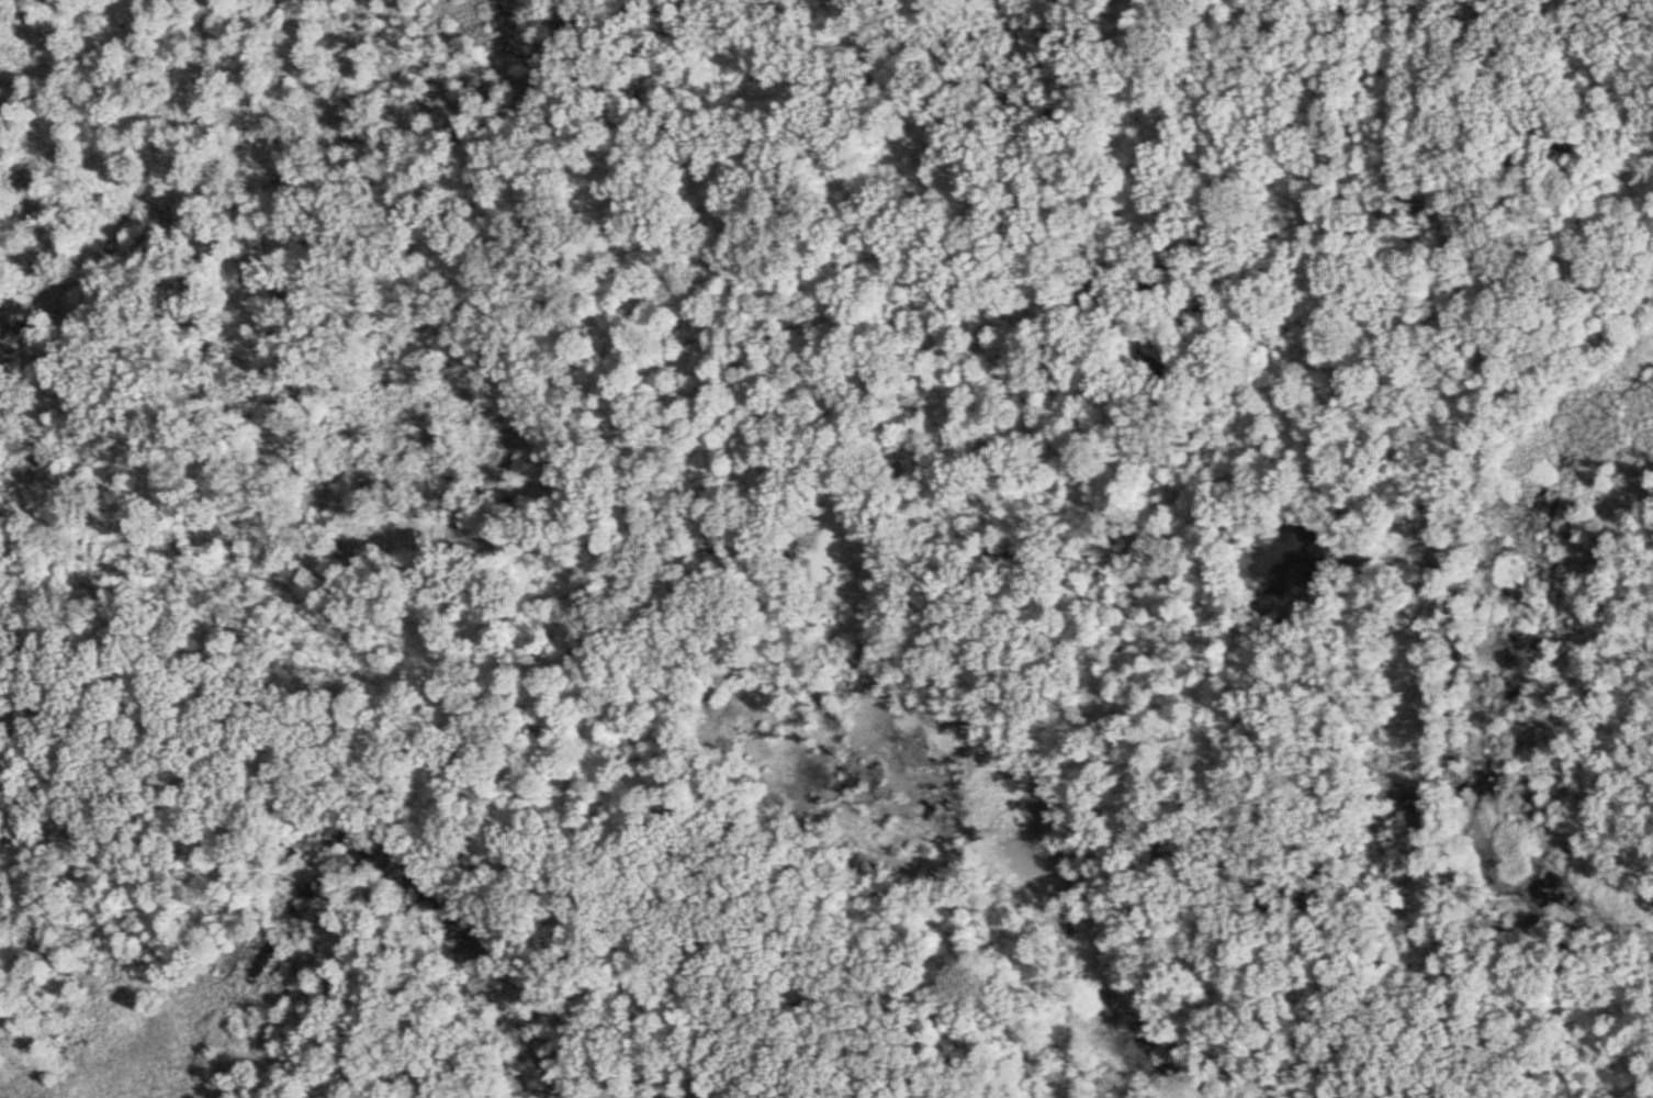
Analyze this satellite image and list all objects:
road: (1441, 550)

